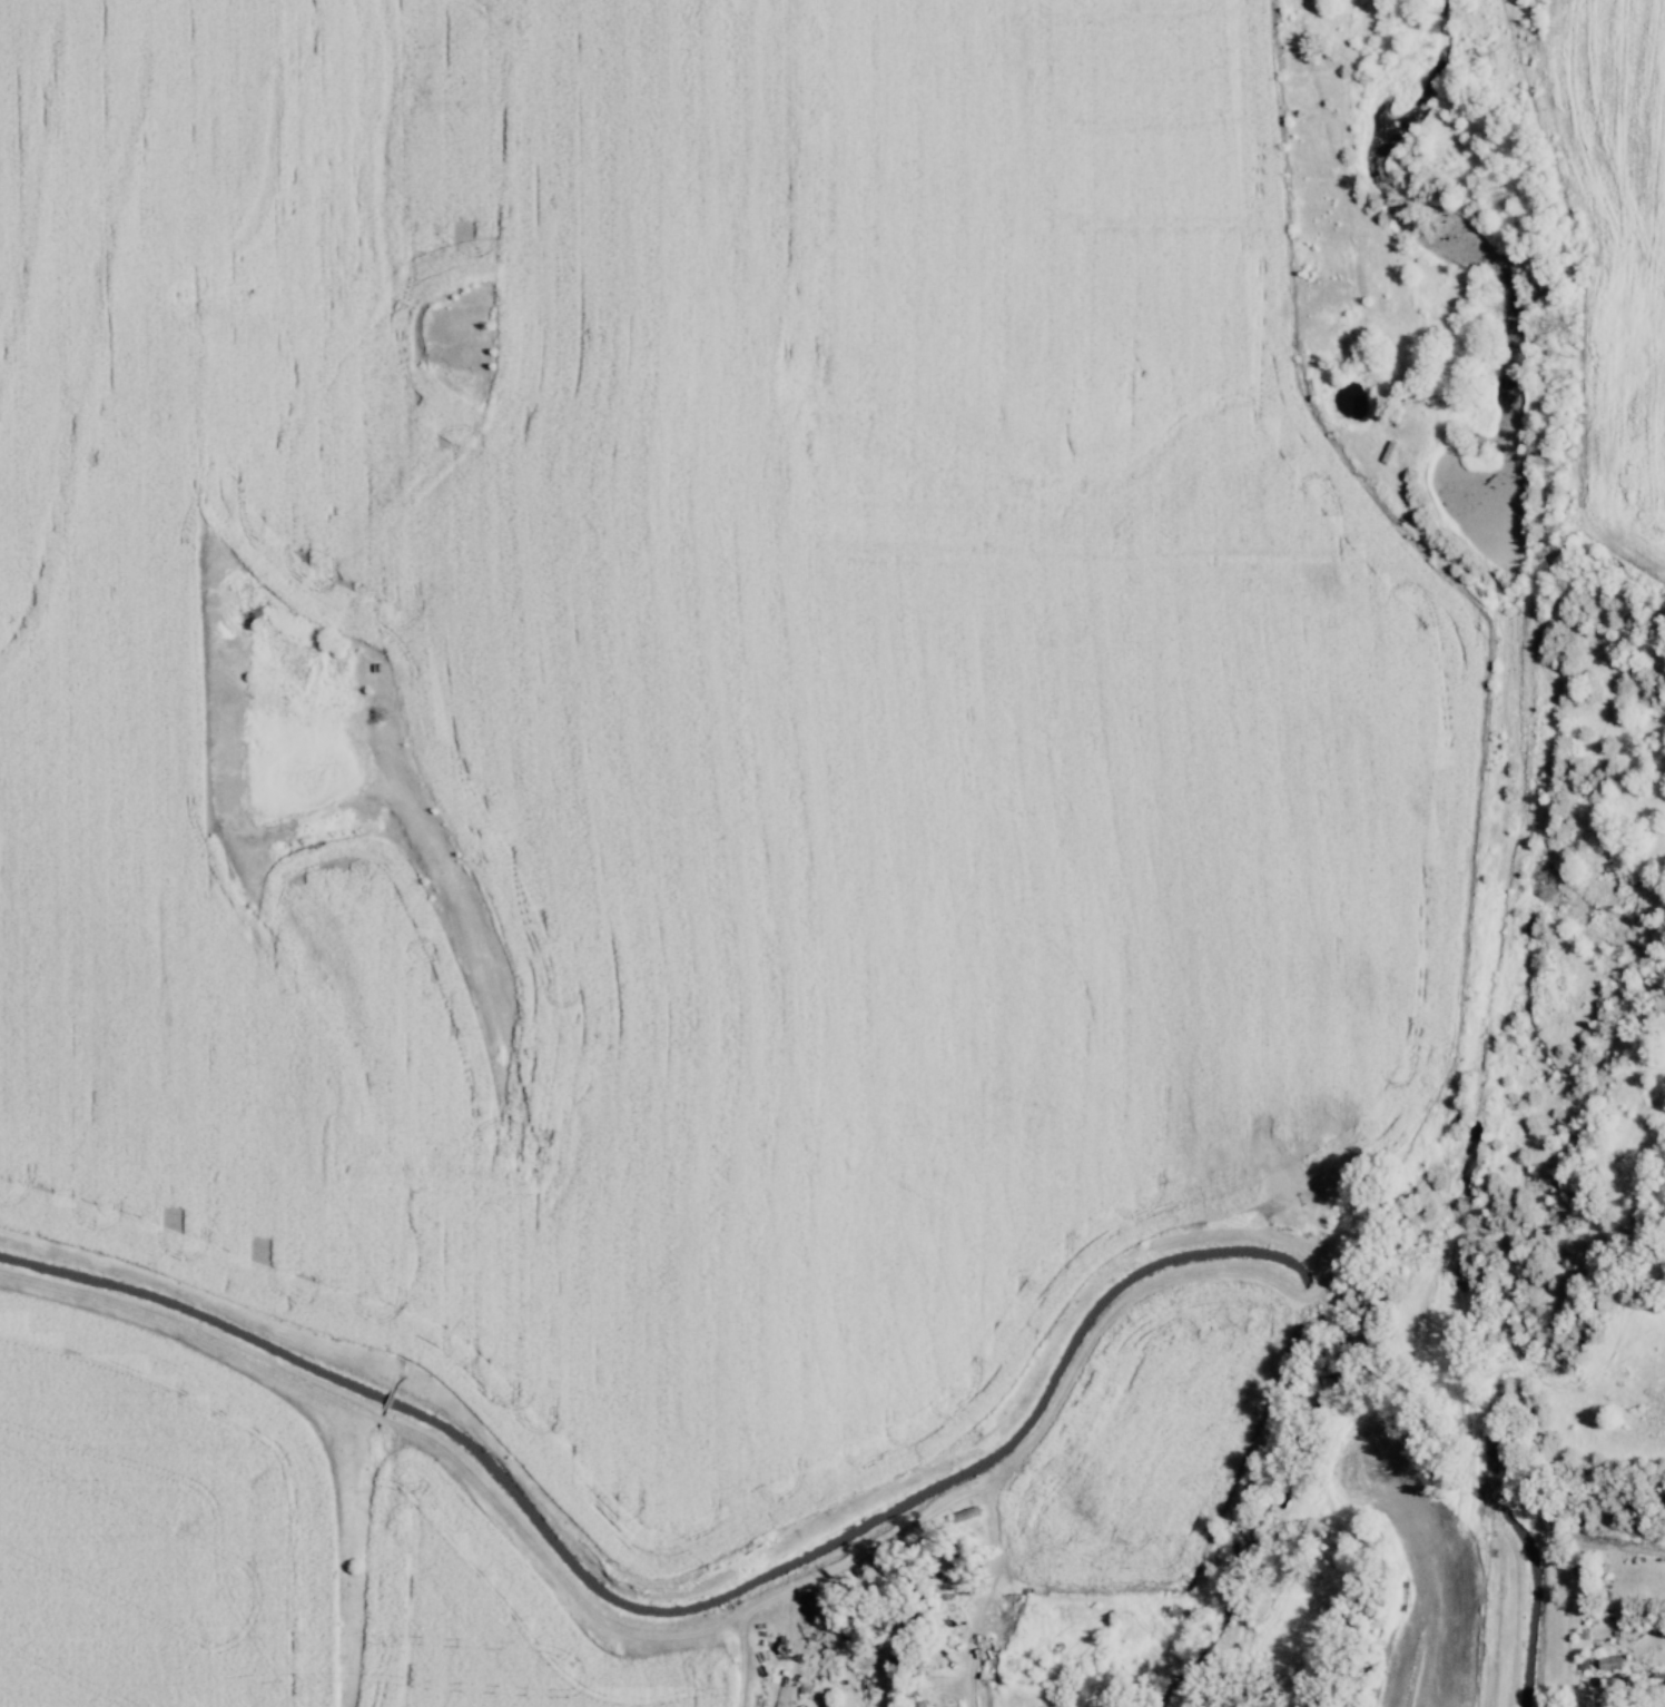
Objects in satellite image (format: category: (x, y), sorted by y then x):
building: (1606, 1661)

